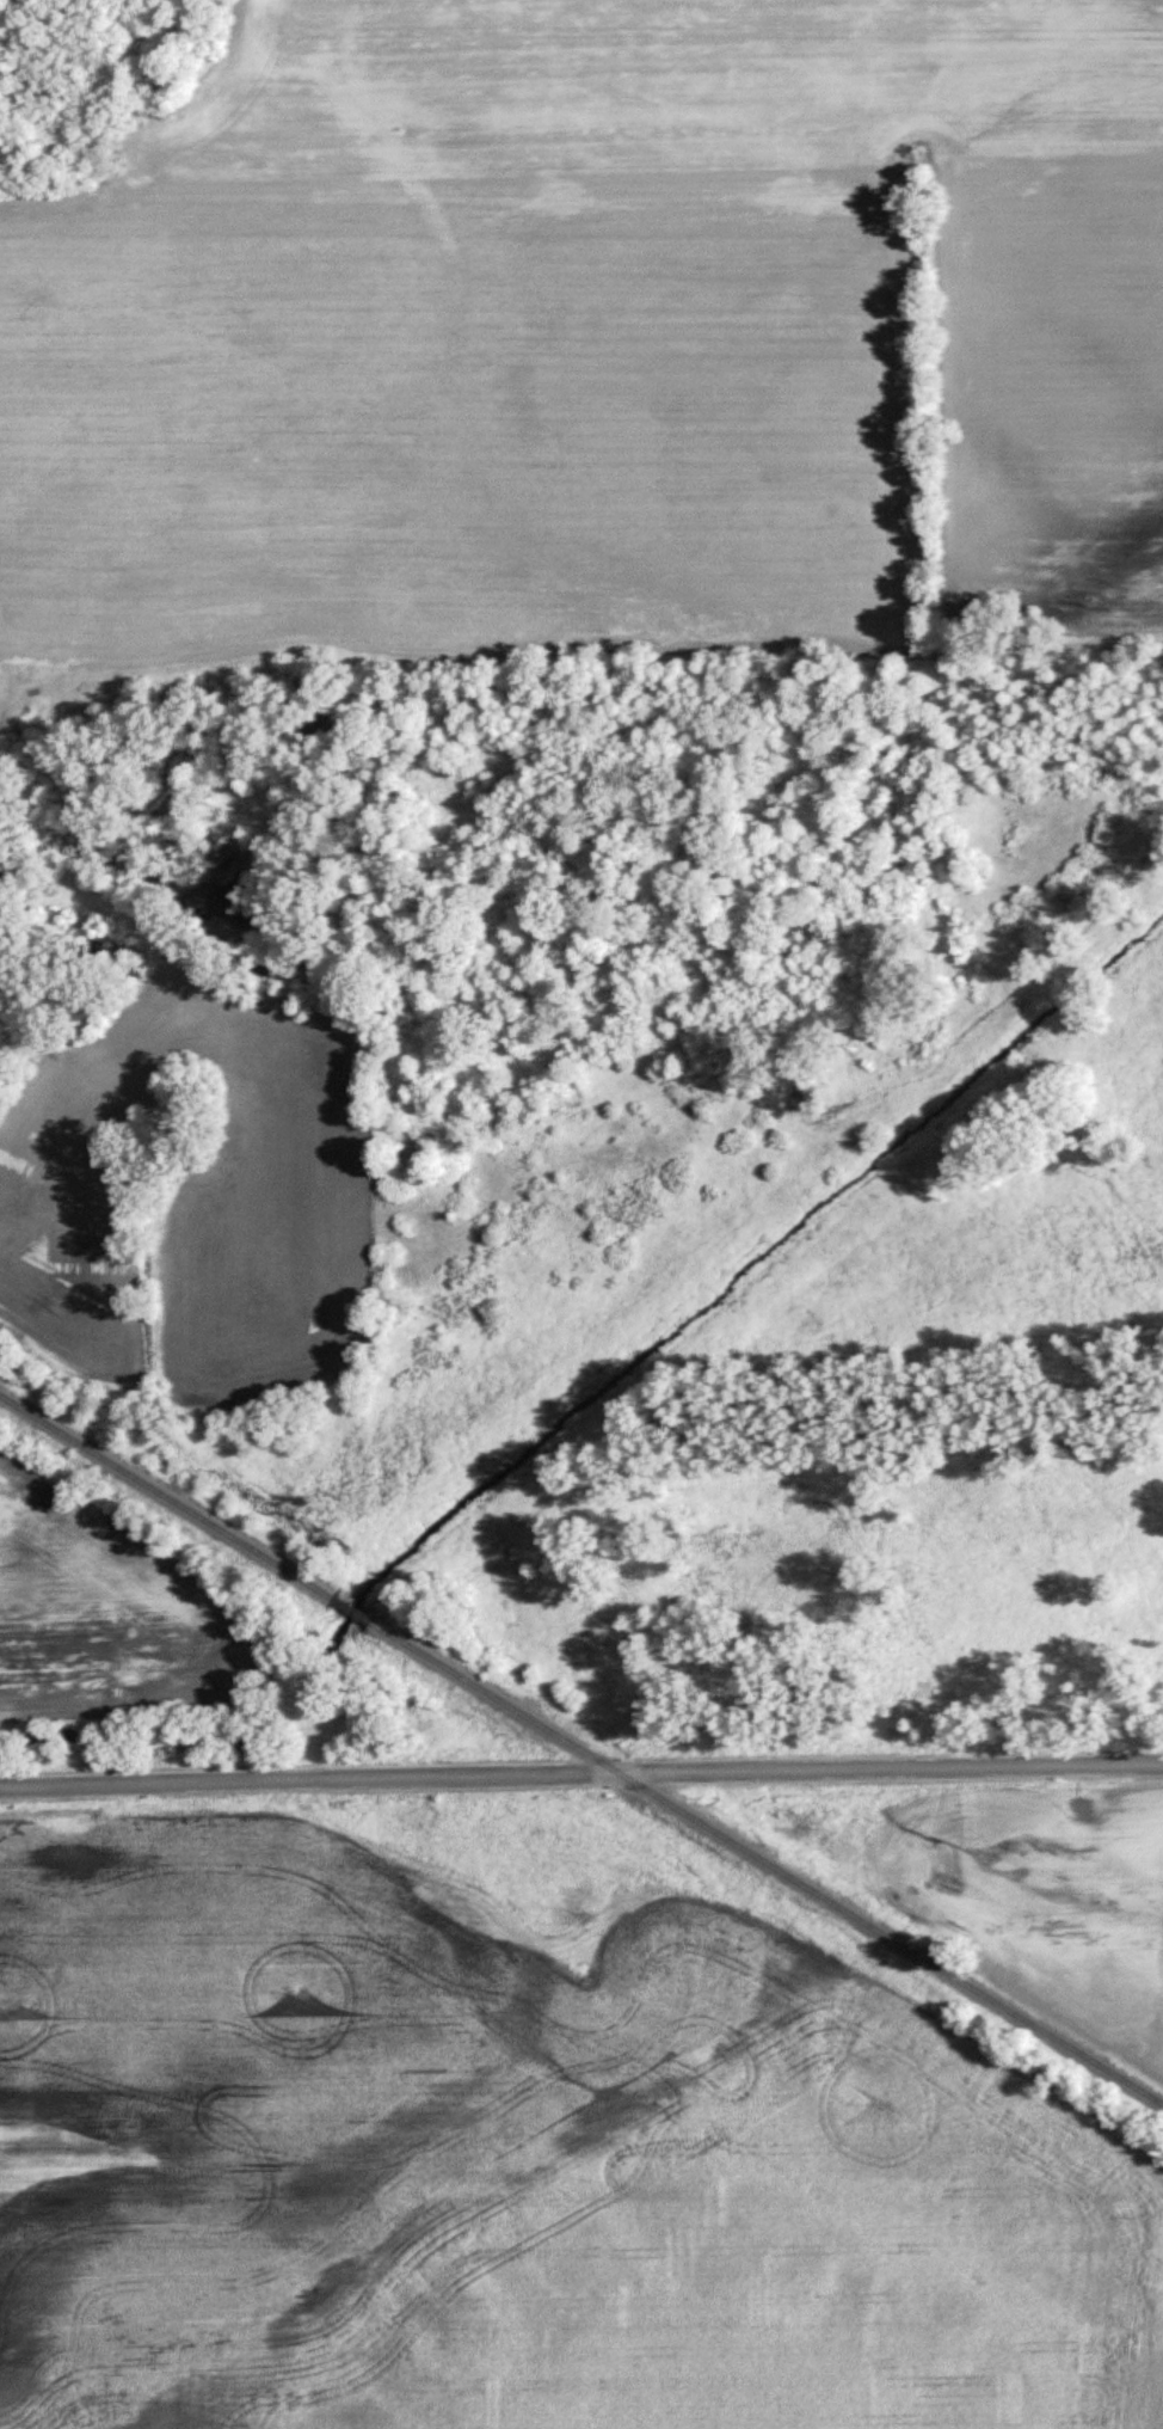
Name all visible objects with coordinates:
road: (566, 671)
road: (64, 903)
railway: (168, 1496)
railway: (356, 1611)
road: (580, 1777)
railway: (768, 1864)

